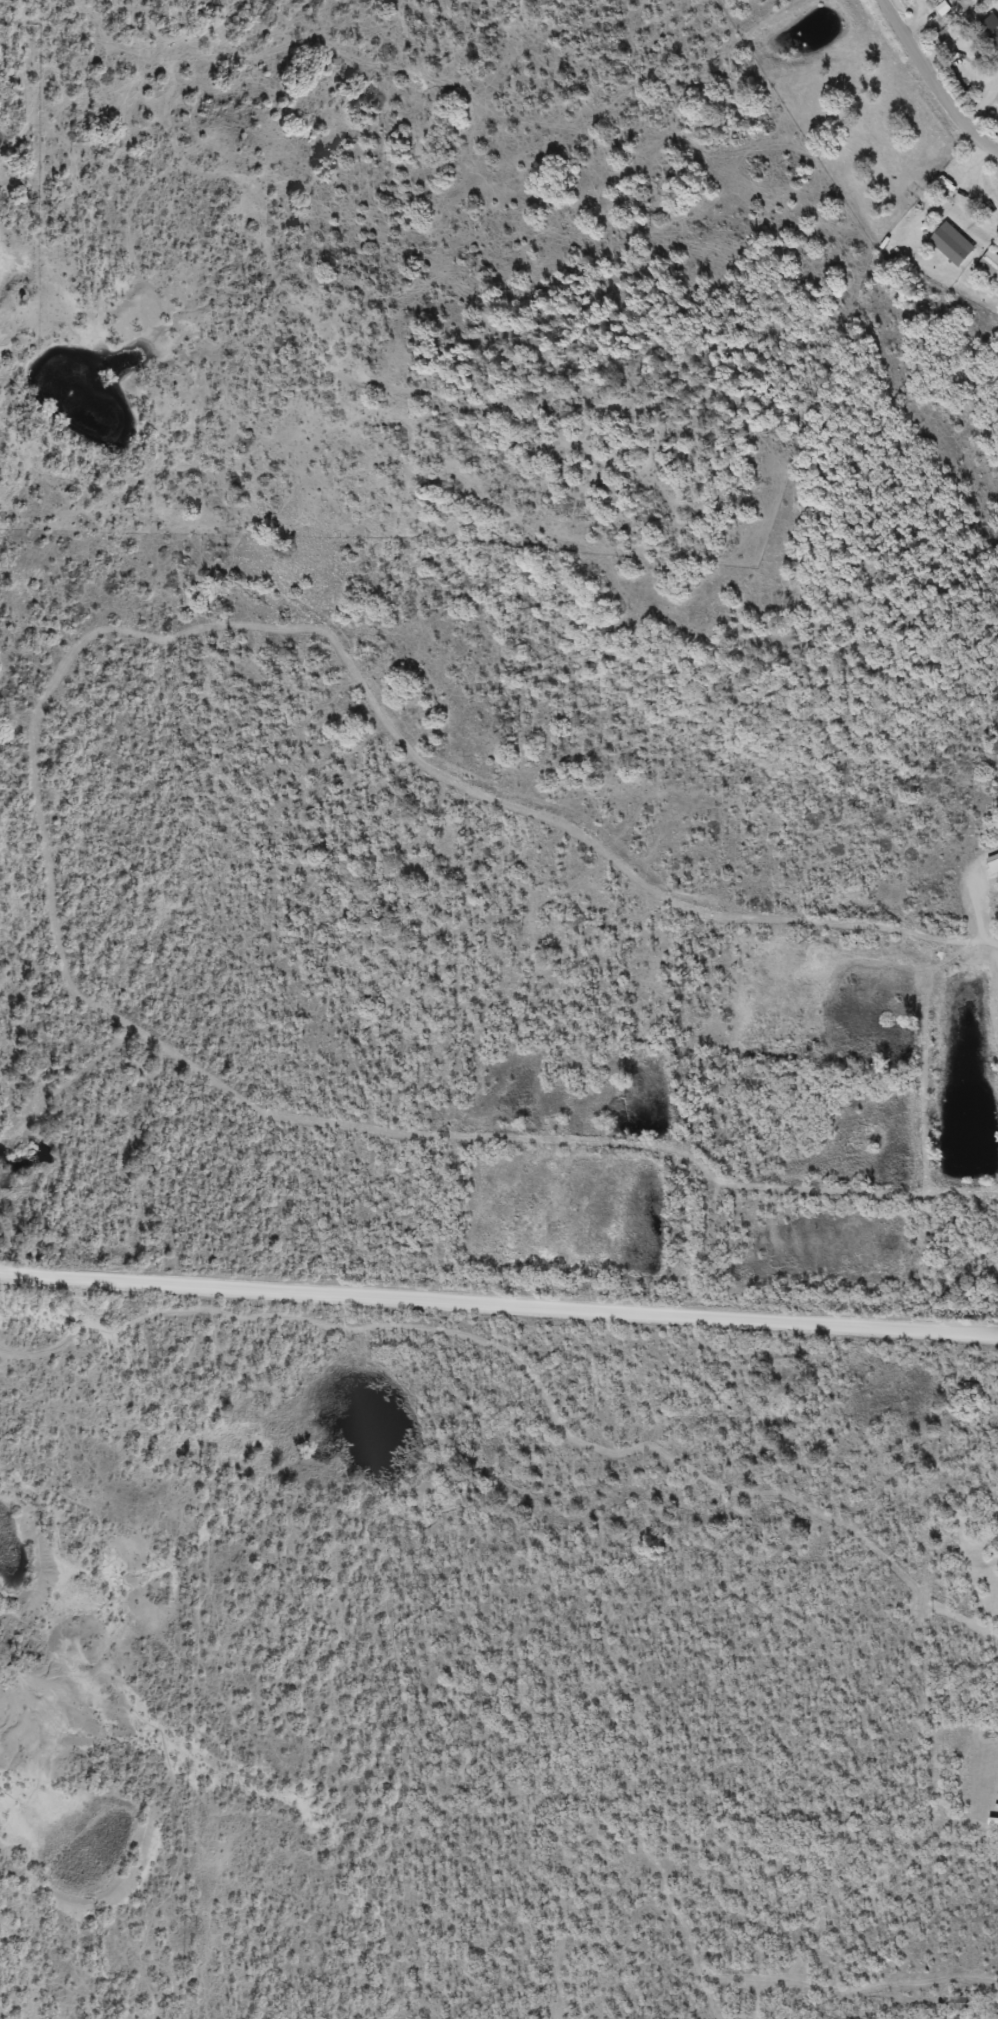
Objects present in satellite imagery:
building: (936, 2)
building: (992, 30)
building: (960, 31)
road: (935, 85)
building: (919, 195)
building: (955, 246)
building: (990, 269)
road: (499, 1303)
building: (961, 2005)

